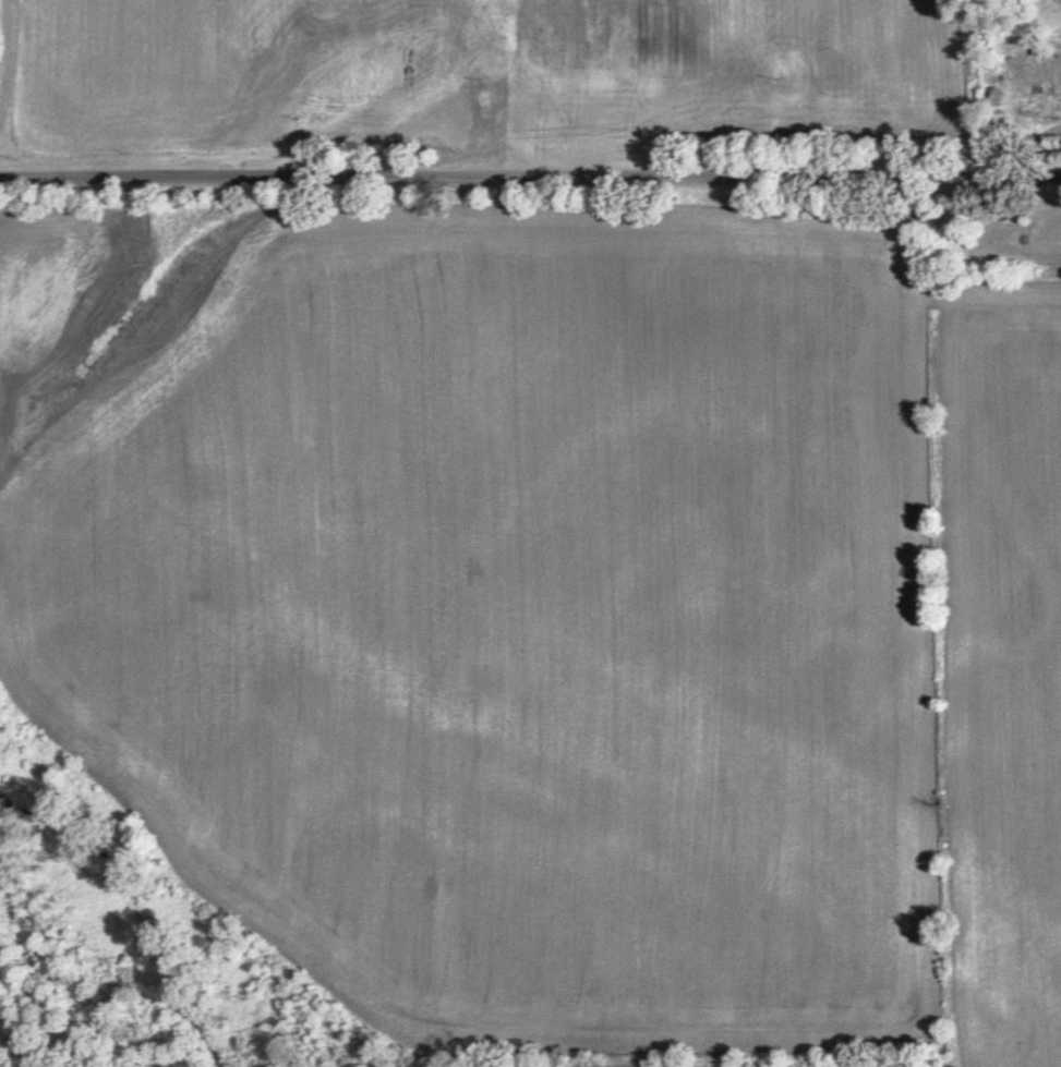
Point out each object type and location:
road: (9, 57)
building: (1036, 102)
road: (530, 169)

